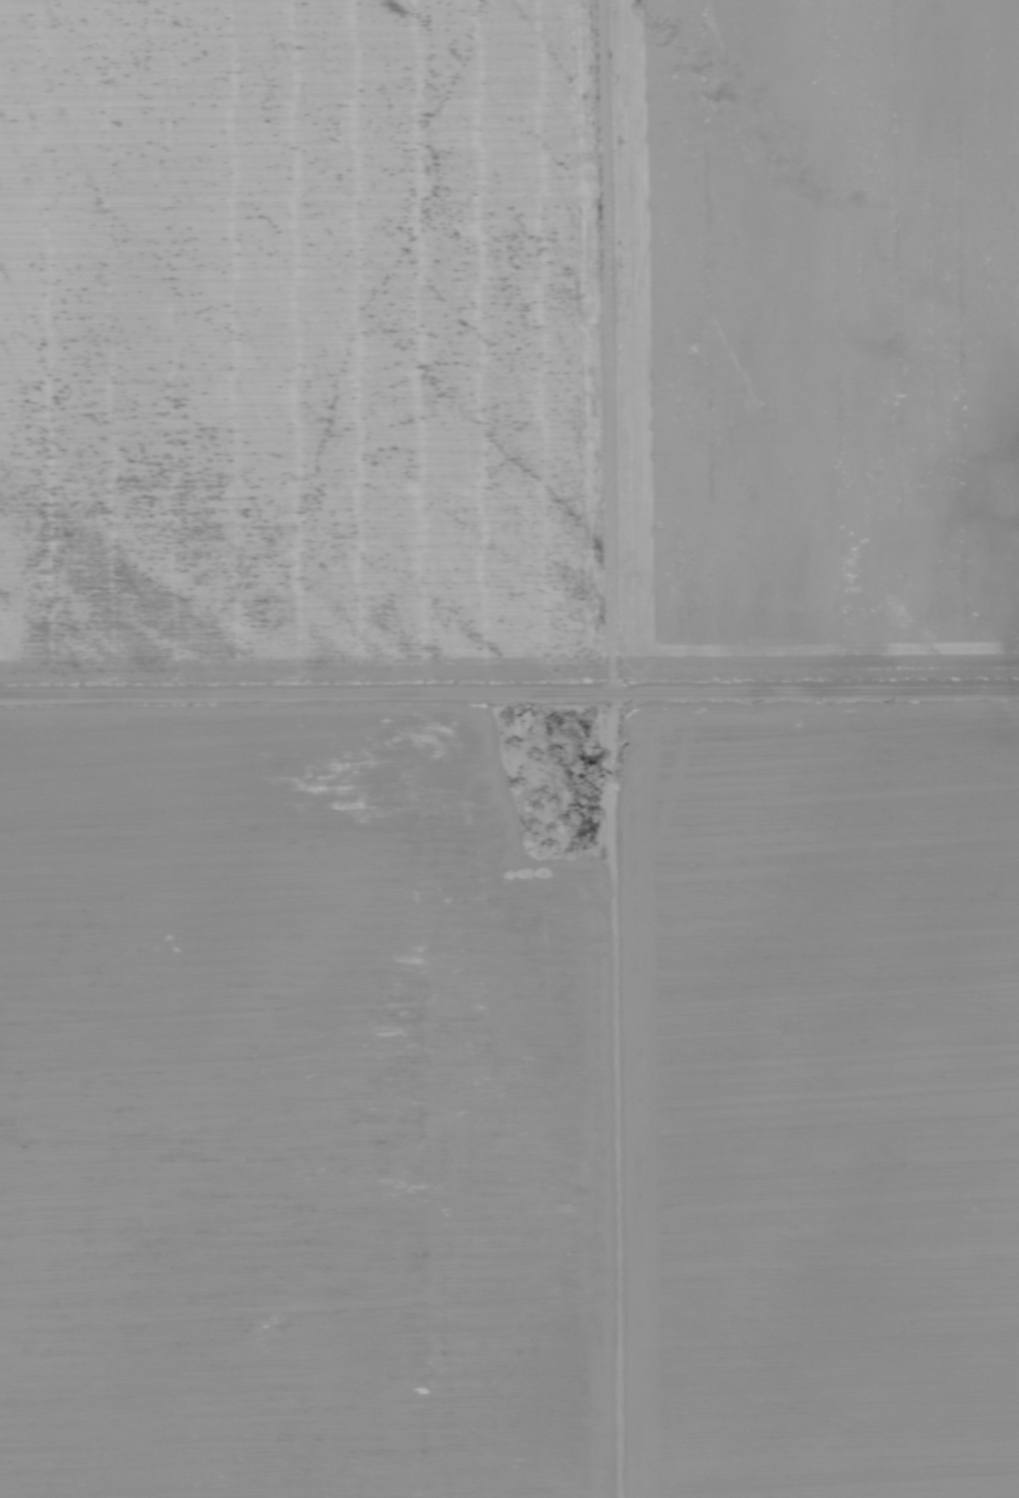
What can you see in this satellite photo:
road: (509, 699)
road: (616, 746)

